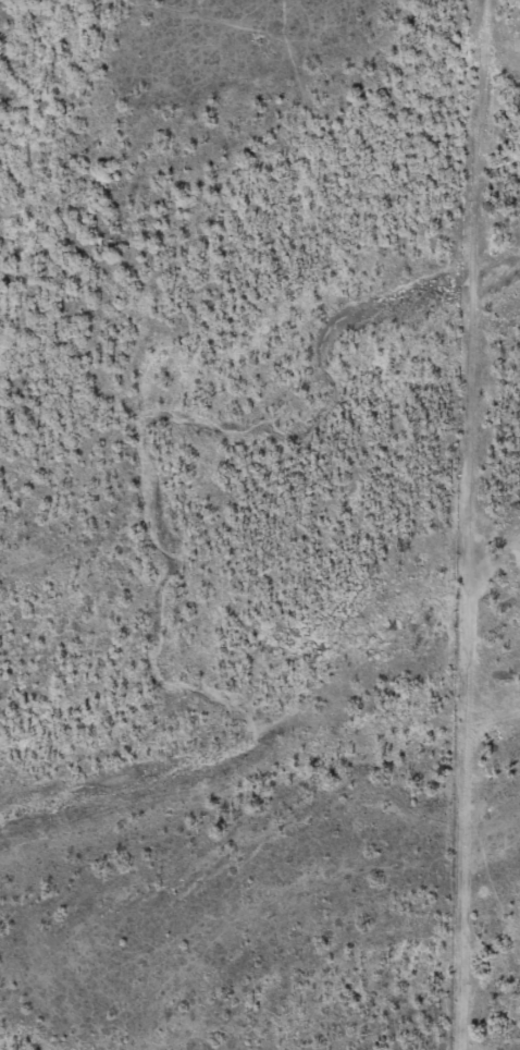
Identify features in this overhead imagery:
road: (258, 753)

